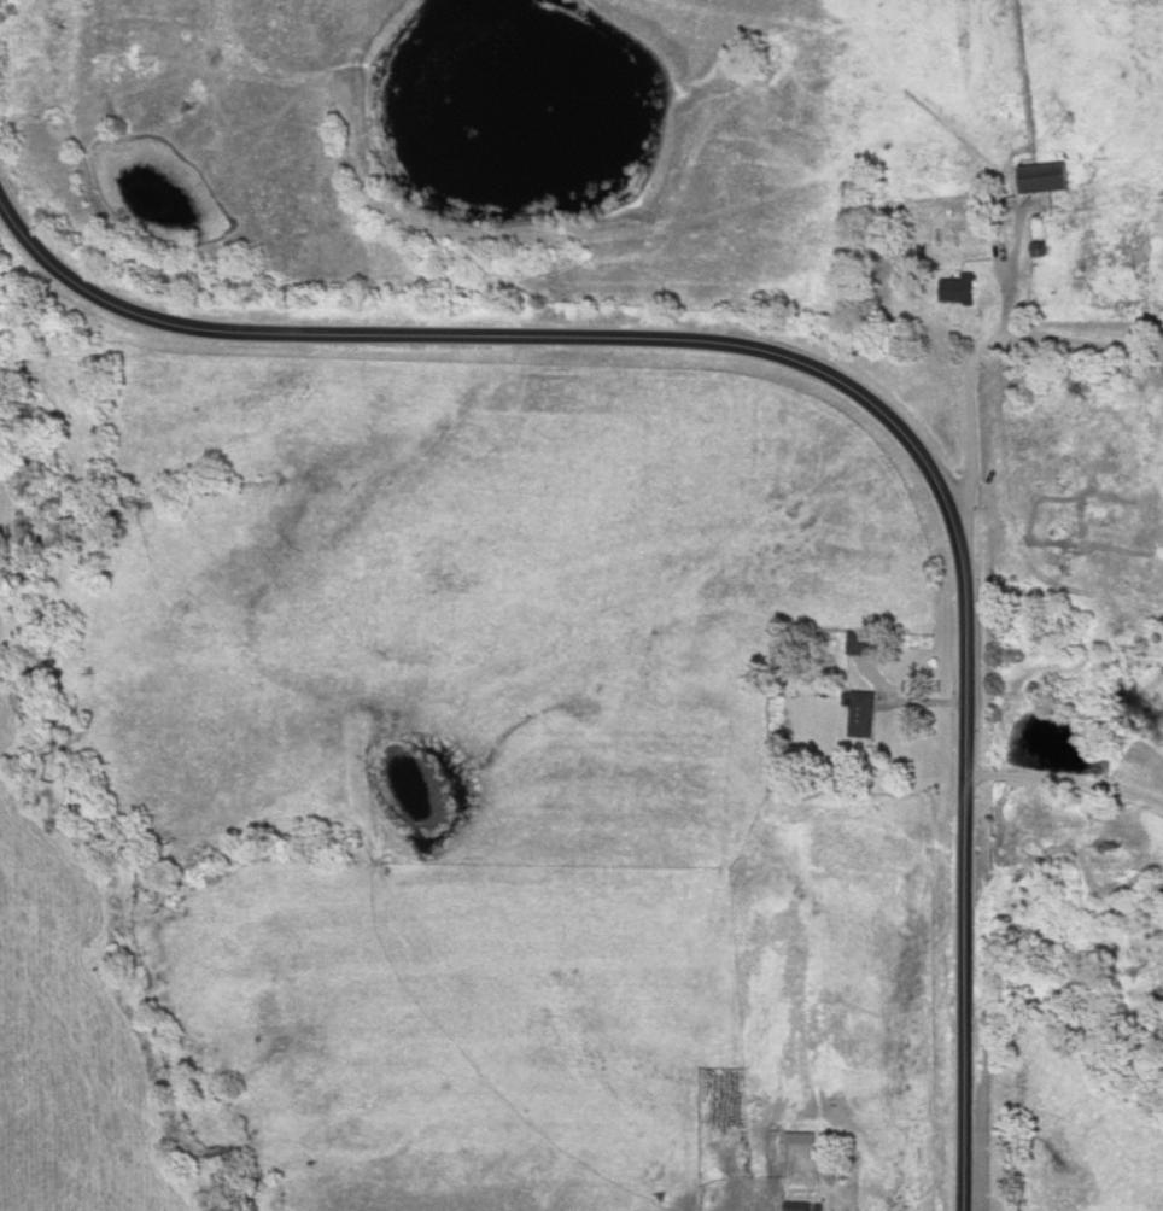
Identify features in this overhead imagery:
building: (1047, 176)
building: (962, 288)
road: (977, 351)
road: (829, 380)
building: (865, 642)
road: (907, 697)
building: (863, 712)
road: (1066, 766)
building: (802, 1139)
building: (797, 1205)

